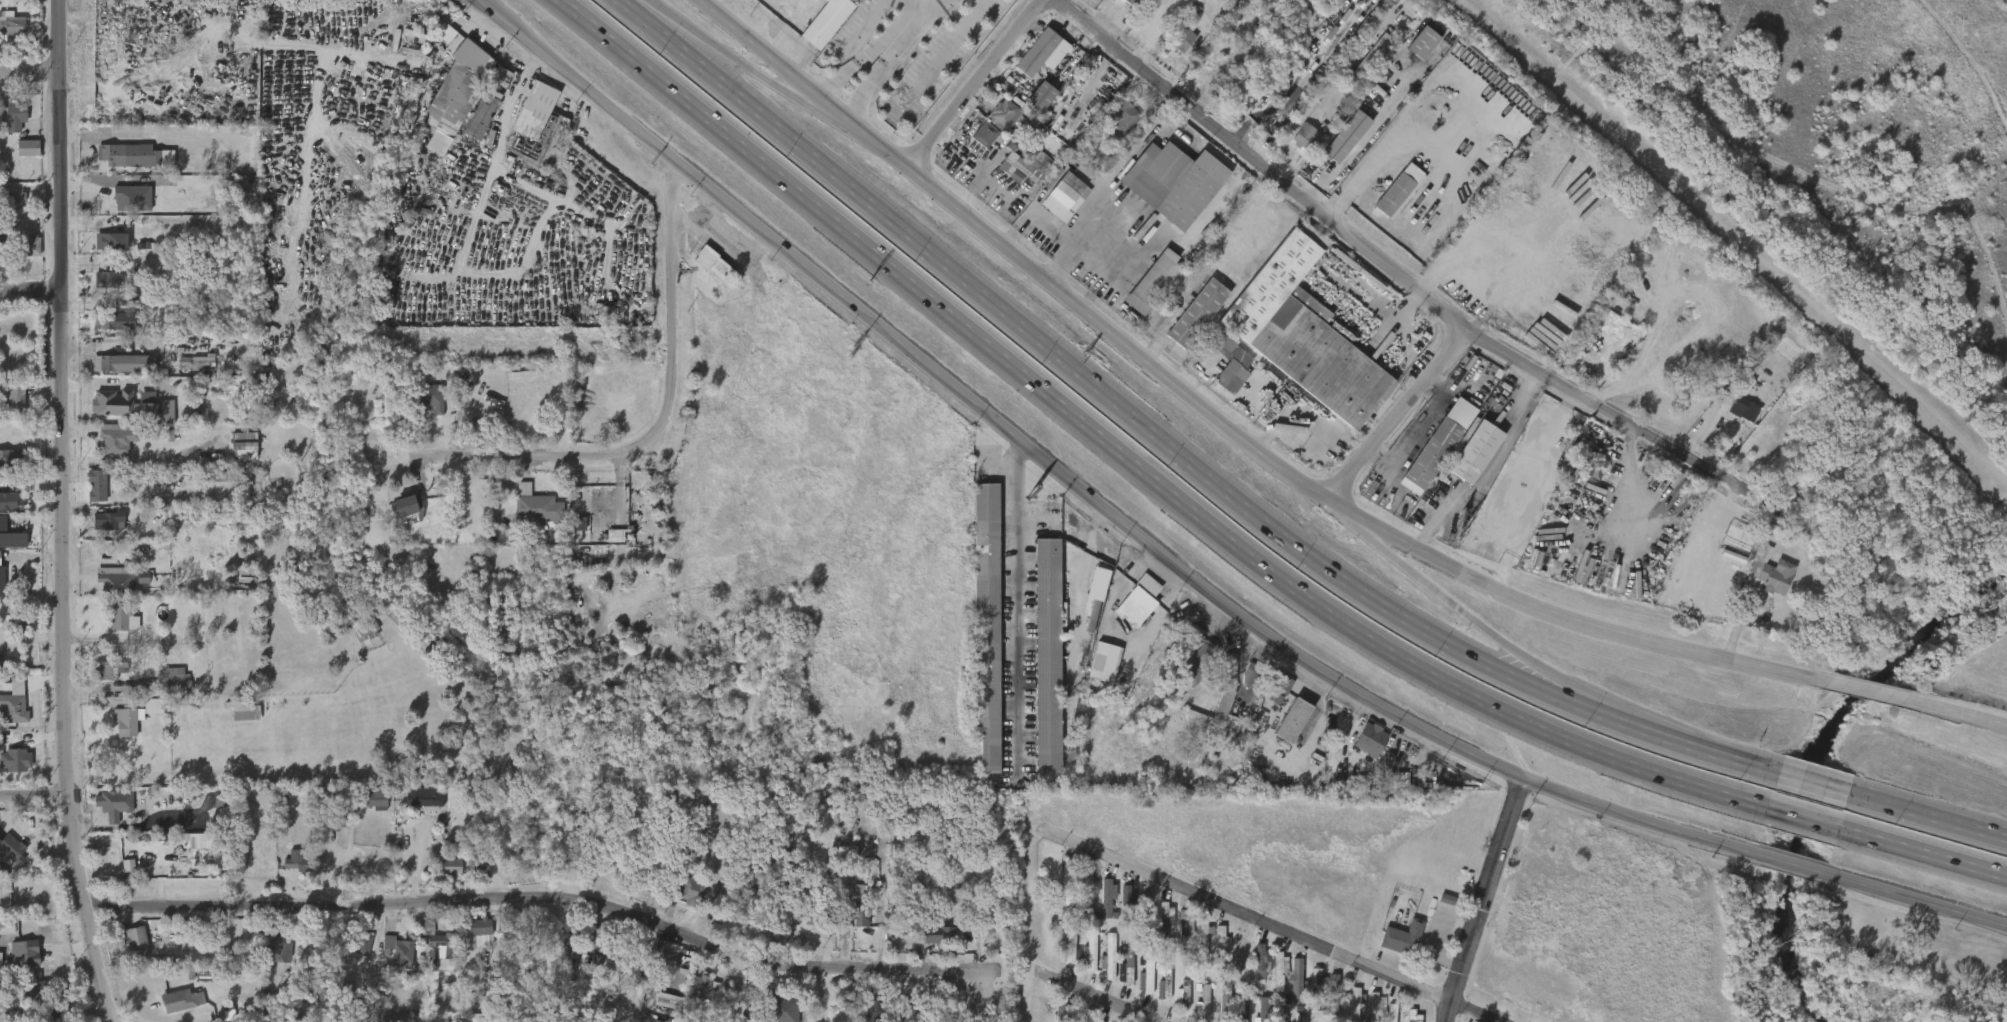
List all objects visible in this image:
building: (1130, 2)
building: (9, 3)
road: (657, 14)
road: (905, 19)
building: (827, 23)
building: (11, 24)
building: (8, 36)
building: (1180, 38)
building: (1420, 41)
building: (440, 44)
building: (1035, 51)
building: (1415, 53)
building: (473, 55)
building: (1369, 60)
road: (734, 61)
road: (854, 64)
road: (30, 76)
road: (873, 80)
road: (973, 83)
building: (454, 94)
building: (1037, 97)
road: (812, 103)
building: (484, 116)
building: (12, 117)
building: (1006, 118)
building: (1123, 118)
building: (534, 121)
road: (1194, 132)
building: (983, 133)
building: (1303, 135)
building: (1344, 135)
building: (977, 145)
building: (1297, 146)
park: (1839, 146)
road: (129, 147)
building: (29, 148)
building: (1036, 151)
park: (1834, 153)
building: (21, 158)
building: (127, 165)
building: (1021, 167)
building: (1010, 179)
building: (1171, 181)
road: (519, 183)
road: (31, 187)
building: (1398, 190)
building: (1066, 197)
building: (111, 199)
building: (125, 209)
building: (11, 210)
building: (23, 239)
railway: (1740, 239)
building: (112, 240)
building: (2, 243)
building: (18, 251)
building: (104, 251)
building: (714, 263)
road: (1392, 270)
building: (706, 274)
building: (111, 279)
building: (1150, 282)
building: (99, 288)
road: (32, 297)
building: (1194, 312)
building: (109, 320)
road: (673, 326)
building: (1301, 331)
building: (101, 332)
building: (182, 340)
building: (199, 361)
building: (112, 363)
building: (1230, 363)
building: (156, 364)
road: (1074, 370)
building: (189, 373)
building: (116, 374)
building: (14, 396)
building: (429, 399)
building: (111, 402)
building: (1745, 409)
building: (105, 413)
road: (1396, 417)
building: (147, 419)
building: (1736, 419)
road: (1220, 423)
building: (1439, 441)
building: (112, 442)
building: (245, 446)
building: (1473, 451)
building: (236, 456)
building: (9, 458)
road: (1129, 461)
road: (511, 462)
building: (1597, 463)
building: (2, 471)
building: (96, 485)
building: (212, 486)
road: (1083, 495)
building: (90, 496)
building: (8, 500)
building: (407, 507)
building: (538, 509)
building: (5, 511)
road: (65, 513)
building: (106, 519)
building: (402, 519)
building: (530, 519)
road: (1356, 526)
building: (101, 530)
building: (9, 550)
building: (1102, 571)
building: (1766, 572)
building: (1, 577)
building: (114, 582)
building: (137, 588)
road: (1442, 596)
building: (1140, 601)
road: (1007, 606)
building: (122, 617)
building: (983, 623)
building: (367, 628)
building: (117, 629)
building: (1199, 657)
building: (1046, 660)
road: (1529, 669)
building: (106, 670)
building: (1230, 671)
building: (1095, 672)
building: (1253, 677)
building: (101, 680)
building: (178, 682)
building: (1280, 682)
building: (170, 689)
road: (1869, 691)
building: (1220, 693)
building: (1272, 700)
building: (14, 708)
building: (247, 711)
road: (1956, 712)
building: (1289, 718)
building: (127, 721)
building: (235, 722)
building: (1370, 737)
road: (1667, 738)
building: (1362, 749)
building: (16, 759)
building: (12, 770)
road: (1812, 782)
building: (424, 796)
building: (379, 798)
road: (35, 800)
building: (107, 803)
building: (369, 808)
road: (1927, 815)
road: (1803, 818)
building: (13, 847)
road: (1922, 852)
building: (8, 859)
building: (297, 861)
building: (454, 865)
building: (656, 865)
road: (1797, 865)
building: (617, 867)
building: (292, 872)
building: (444, 876)
building: (473, 881)
building: (1066, 881)
building: (958, 884)
building: (692, 891)
building: (1058, 892)
building: (1085, 893)
road: (546, 895)
building: (1104, 897)
road: (1915, 899)
road: (1488, 900)
building: (683, 901)
building: (1078, 903)
building: (1125, 908)
building: (1099, 910)
building: (1144, 912)
building: (861, 913)
building: (813, 914)
building: (1163, 920)
road: (1026, 924)
road: (1278, 924)
building: (1184, 925)
building: (481, 926)
building: (1157, 931)
building: (1203, 934)
building: (473, 937)
building: (1177, 937)
building: (1401, 937)
building: (137, 939)
building: (939, 939)
building: (593, 940)
building: (439, 941)
building: (1068, 941)
building: (365, 944)
building: (1219, 944)
building: (1195, 947)
building: (129, 950)
building: (280, 951)
building: (399, 951)
building: (429, 951)
building: (1089, 951)
building: (1212, 951)
building: (1239, 952)
building: (354, 953)
building: (1107, 956)
building: (1061, 957)
building: (29, 958)
building: (273, 958)
building: (391, 961)
building: (1082, 962)
building: (1231, 962)
building: (1252, 963)
building: (17, 964)
building: (1100, 967)
building: (1125, 967)
building: (1278, 970)
building: (587, 971)
building: (1117, 976)
building: (1145, 977)
building: (1296, 978)
building: (1271, 980)
building: (705, 986)
building: (1307, 987)
building: (1315, 987)
building: (1138, 988)
building: (1289, 989)
building: (29, 991)
road: (1093, 993)
building: (1156, 993)
building: (1326, 993)
building: (1333, 993)
building: (695, 997)
building: (26, 1000)
building: (181, 1001)
building: (1175, 1003)
building: (1202, 1003)
building: (1226, 1003)
building: (1354, 1004)
building: (1374, 1006)
building: (1217, 1007)
building: (783, 1008)
building: (865, 1009)
building: (1346, 1009)
building: (174, 1010)
building: (1195, 1010)
building: (1242, 1011)
building: (1264, 1011)
building: (1060, 1012)
building: (1368, 1013)
building: (907, 1014)
building: (1255, 1014)
building: (1281, 1016)
building: (1053, 1018)
building: (1301, 1018)
building: (1383, 1018)
building: (1403, 1020)
building: (893, 1021)
building: (1098, 1021)

